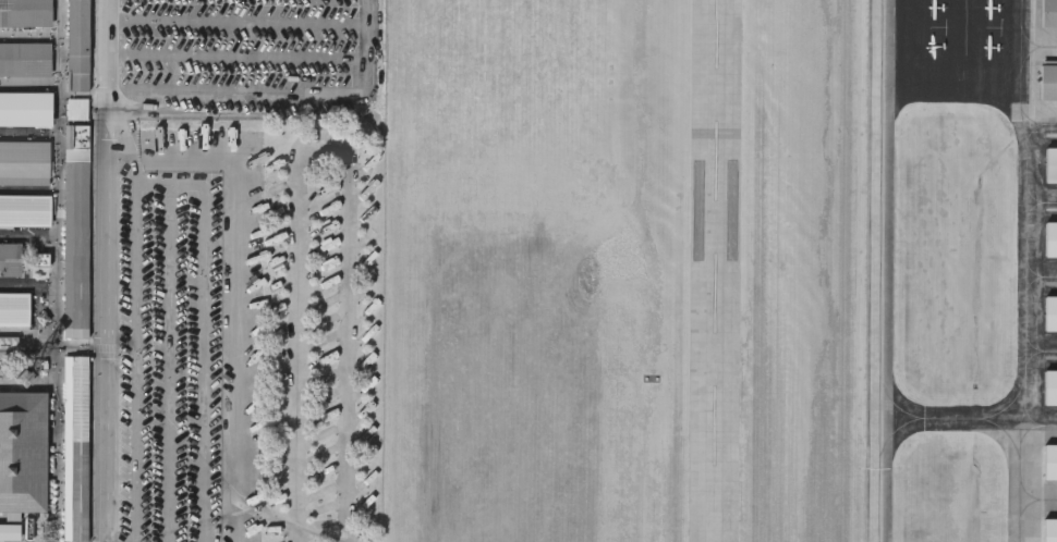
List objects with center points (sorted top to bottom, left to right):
building: (25, 12)
building: (1048, 13)
road: (370, 45)
building: (76, 46)
airport apron: (958, 57)
building: (24, 58)
building: (1048, 81)
road: (240, 89)
building: (25, 108)
building: (76, 108)
road: (326, 139)
building: (24, 161)
building: (1050, 163)
building: (24, 209)
building: (75, 230)
building: (1050, 237)
building: (10, 258)
road: (106, 270)
parking lot: (246, 270)
road: (59, 271)
airport: (718, 271)
airport runway: (719, 271)
building: (13, 308)
road: (241, 310)
building: (1049, 311)
airport taxiway: (888, 328)
road: (29, 341)
road: (82, 342)
building: (1049, 385)
building: (74, 447)
building: (22, 449)
building: (1049, 460)
building: (1049, 529)
building: (16, 530)

